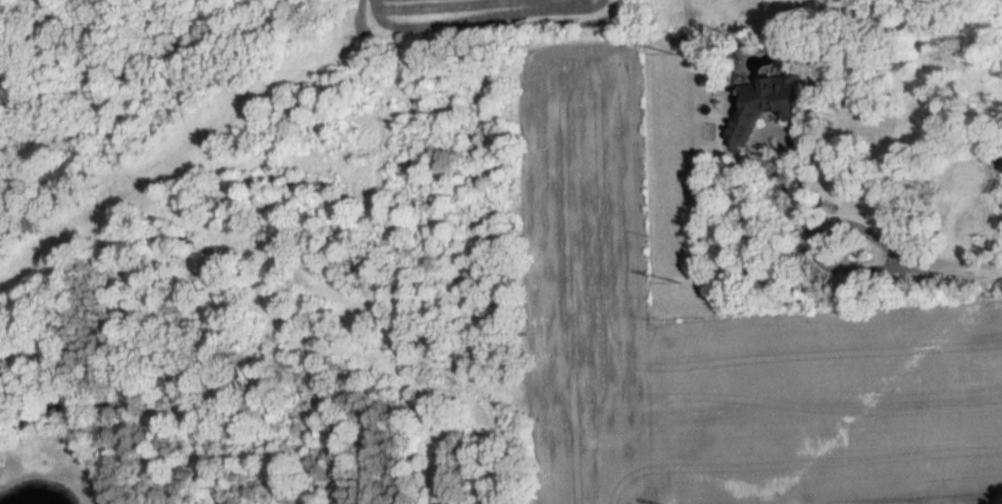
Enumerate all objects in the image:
building: (771, 102)
road: (785, 196)
road: (817, 239)
road: (959, 270)

